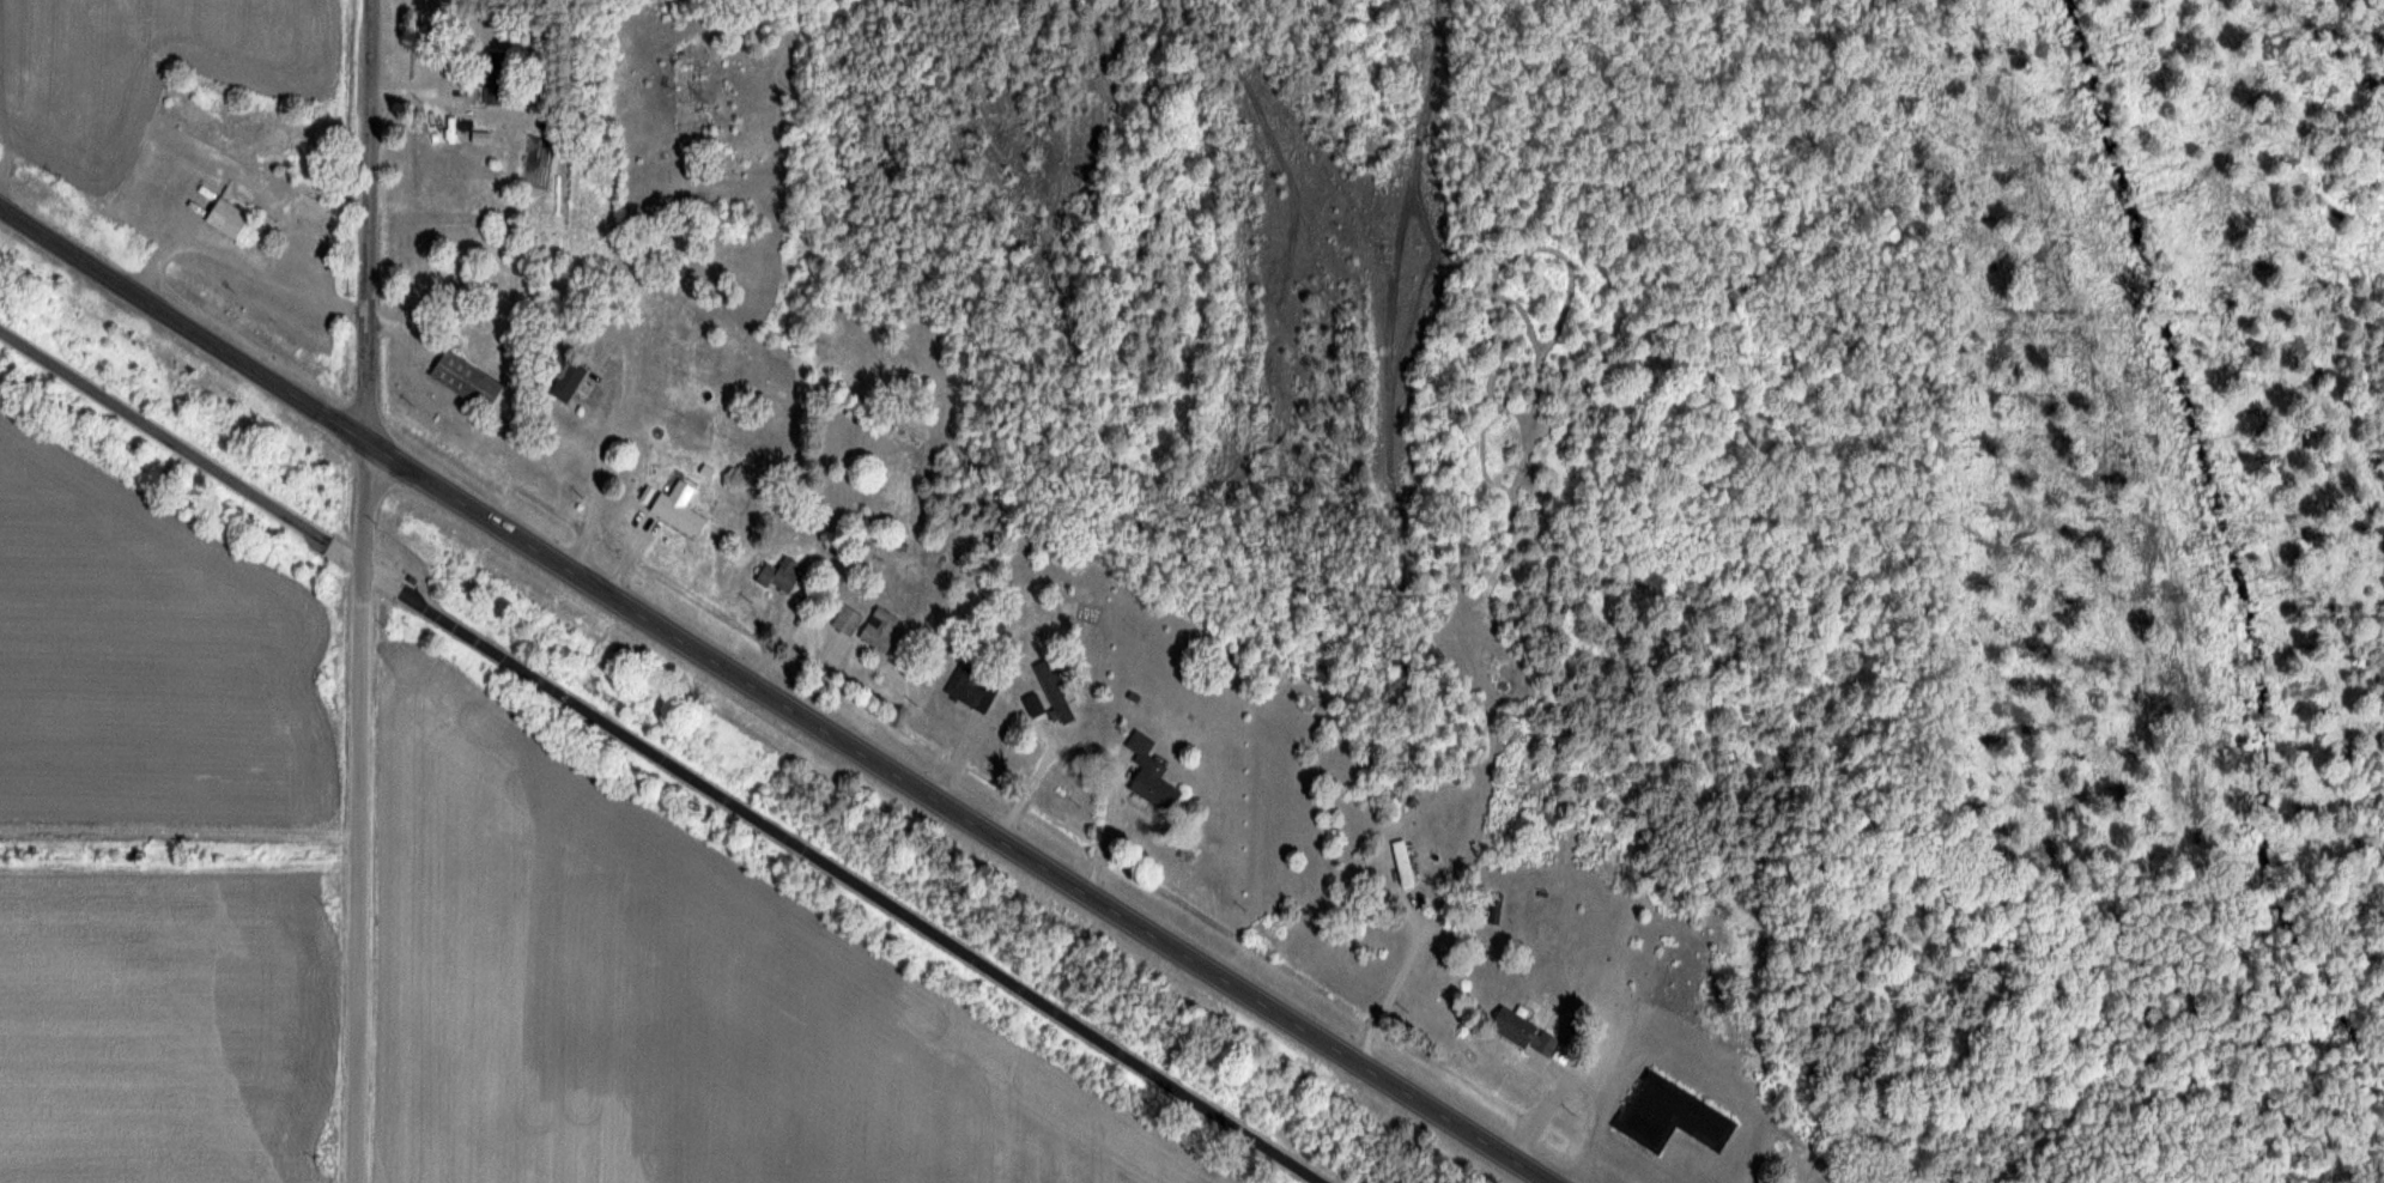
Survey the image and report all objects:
building: (493, 96)
building: (229, 220)
building: (510, 233)
building: (457, 295)
road: (186, 324)
building: (564, 380)
building: (465, 381)
road: (597, 468)
building: (678, 509)
building: (779, 575)
road: (365, 590)
building: (847, 620)
building: (879, 630)
building: (964, 686)
road: (660, 757)
building: (1148, 773)
road: (960, 814)
building: (1402, 863)
road: (1382, 988)
building: (1517, 1031)
building: (1669, 1116)

